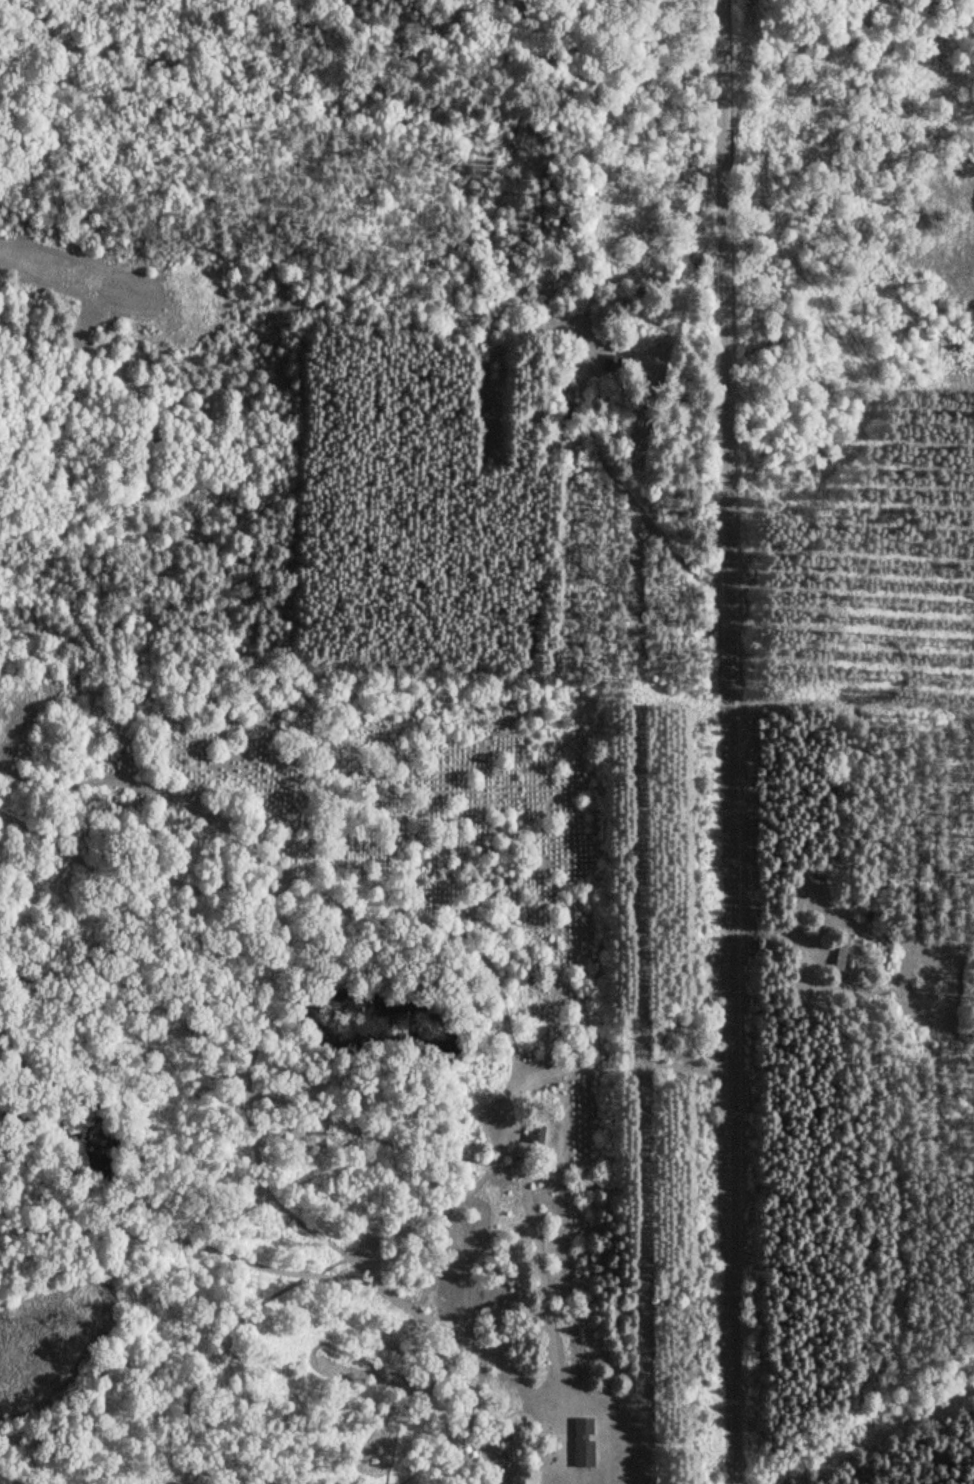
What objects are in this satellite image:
building: (613, 363)
road: (728, 742)
building: (580, 1443)

